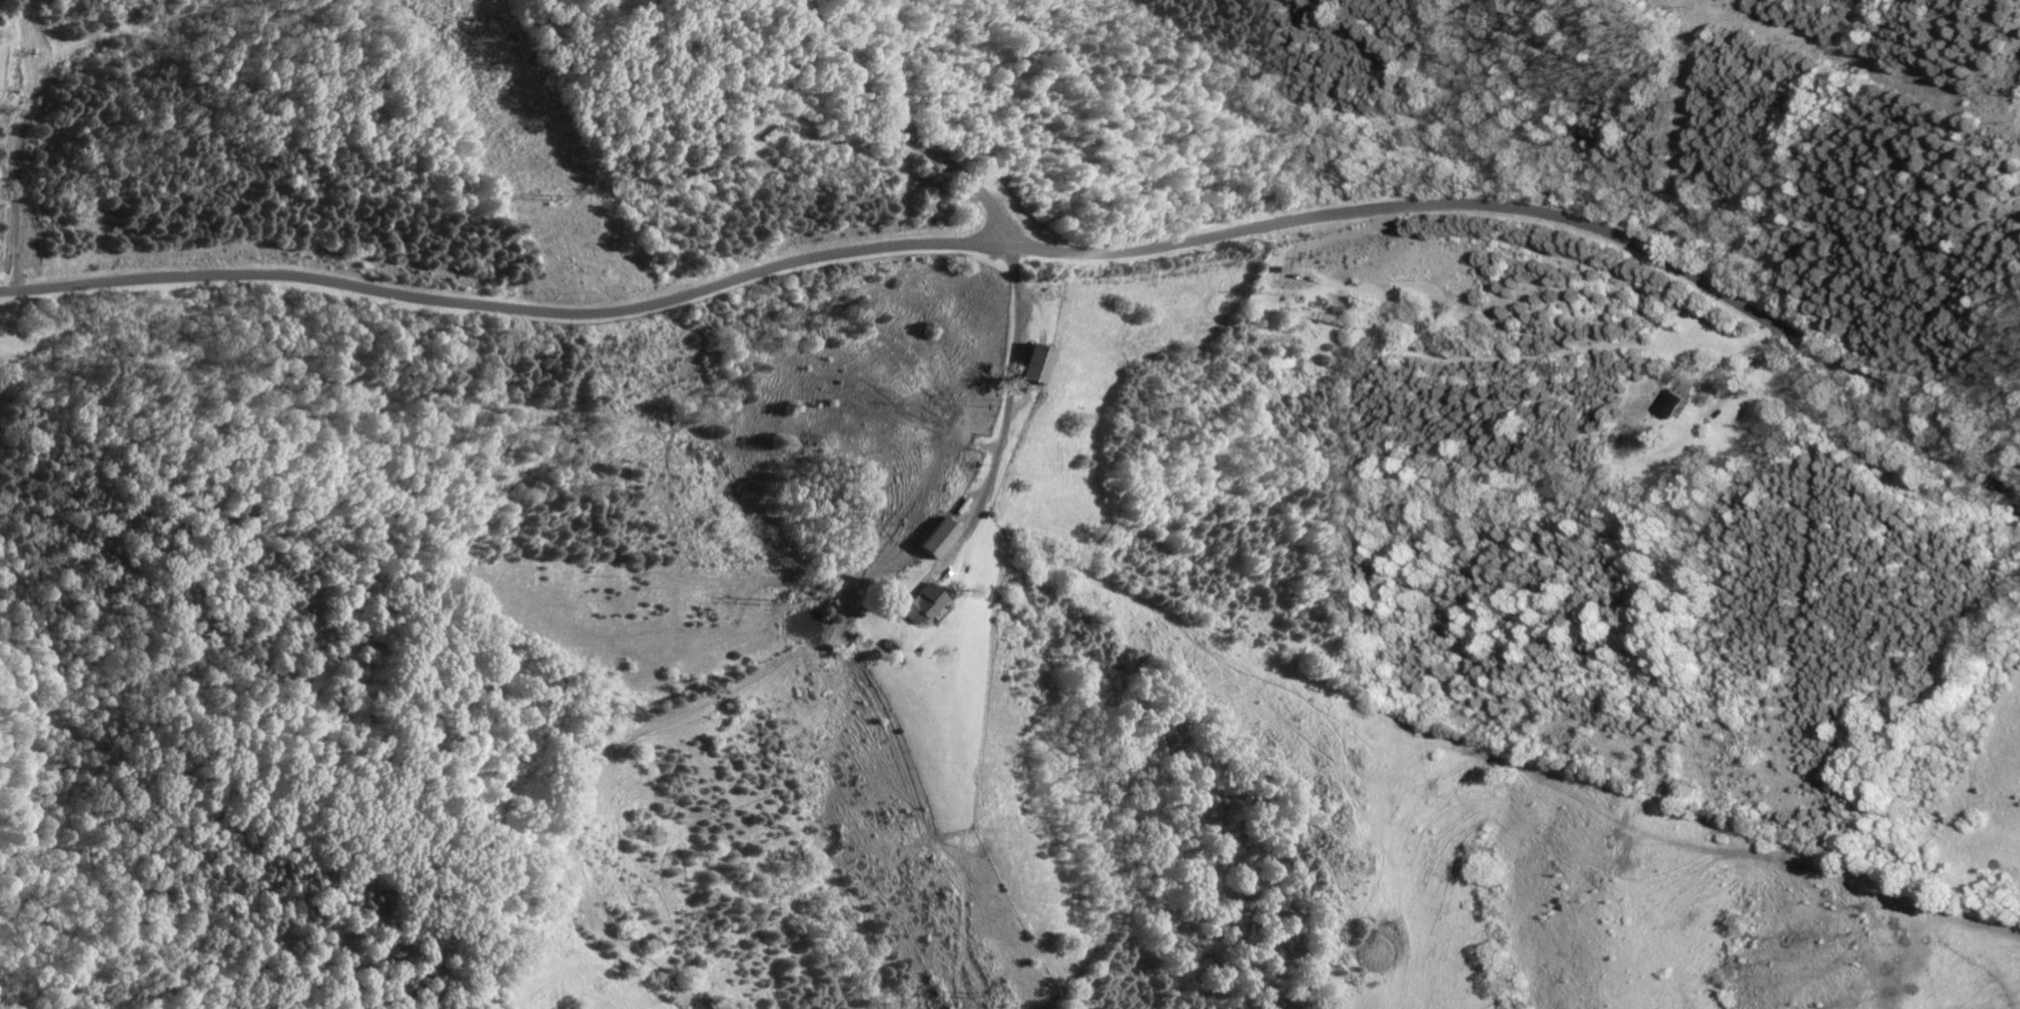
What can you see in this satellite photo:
road: (897, 129)
road: (795, 261)
building: (1316, 315)
road: (1805, 342)
building: (1037, 364)
building: (1024, 366)
building: (1670, 402)
road: (1001, 414)
building: (951, 512)
building: (938, 538)
building: (915, 604)
building: (883, 646)

